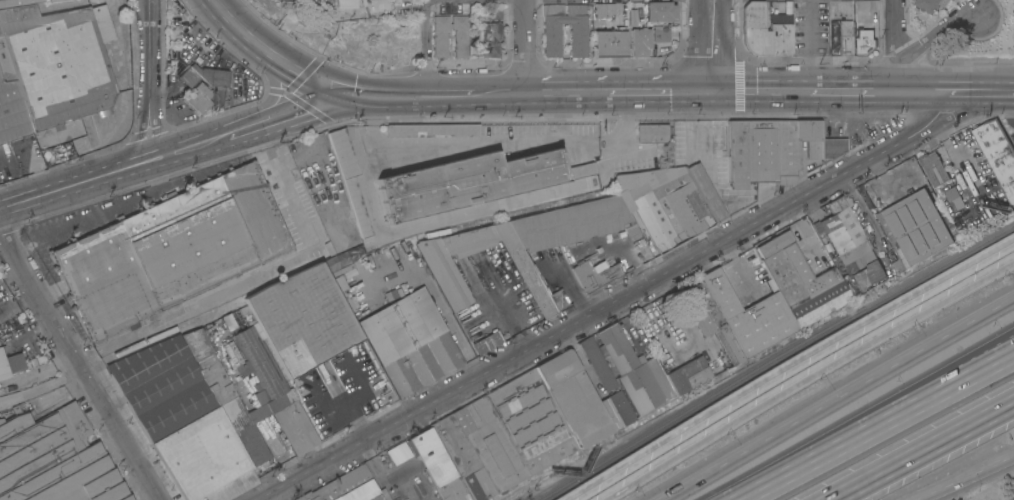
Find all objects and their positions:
building: (51, 0)
building: (284, 0)
building: (344, 3)
building: (929, 5)
building: (604, 9)
building: (659, 10)
building: (495, 12)
building: (632, 17)
building: (310, 19)
building: (577, 30)
building: (764, 31)
road: (933, 33)
building: (661, 35)
building: (461, 36)
building: (845, 37)
building: (491, 38)
building: (639, 41)
building: (864, 42)
building: (610, 43)
road: (892, 44)
road: (809, 45)
road: (696, 46)
road: (526, 47)
road: (719, 47)
road: (427, 48)
road: (267, 52)
building: (59, 60)
building: (195, 72)
road: (996, 78)
road: (147, 80)
road: (965, 87)
road: (997, 87)
traffic signals: (335, 88)
road: (381, 88)
road: (922, 88)
road: (851, 89)
road: (757, 91)
road: (615, 93)
road: (499, 95)
road: (449, 96)
building: (198, 97)
building: (10, 102)
road: (379, 102)
road: (281, 116)
building: (433, 129)
building: (652, 132)
building: (831, 147)
building: (769, 149)
building: (997, 153)
building: (974, 154)
building: (934, 168)
road: (111, 171)
building: (349, 176)
road: (368, 179)
building: (471, 181)
building: (706, 191)
building: (954, 198)
building: (663, 203)
building: (573, 223)
building: (920, 224)
building: (849, 247)
building: (175, 253)
railway: (352, 258)
building: (894, 260)
building: (444, 273)
building: (593, 274)
building: (801, 280)
building: (349, 299)
road: (614, 303)
road: (510, 309)
building: (750, 311)
building: (246, 315)
building: (710, 319)
building: (409, 341)
building: (487, 342)
building: (156, 344)
railway: (775, 360)
building: (10, 363)
road: (977, 364)
road: (785, 365)
road: (79, 367)
building: (635, 370)
building: (695, 371)
road: (808, 377)
building: (677, 380)
building: (607, 385)
building: (271, 389)
railway: (31, 394)
road: (835, 396)
building: (226, 397)
building: (574, 397)
building: (181, 419)
road: (356, 420)
road: (875, 425)
building: (503, 435)
road: (921, 451)
building: (398, 452)
building: (54, 459)
building: (437, 465)
road: (961, 476)
building: (348, 487)

